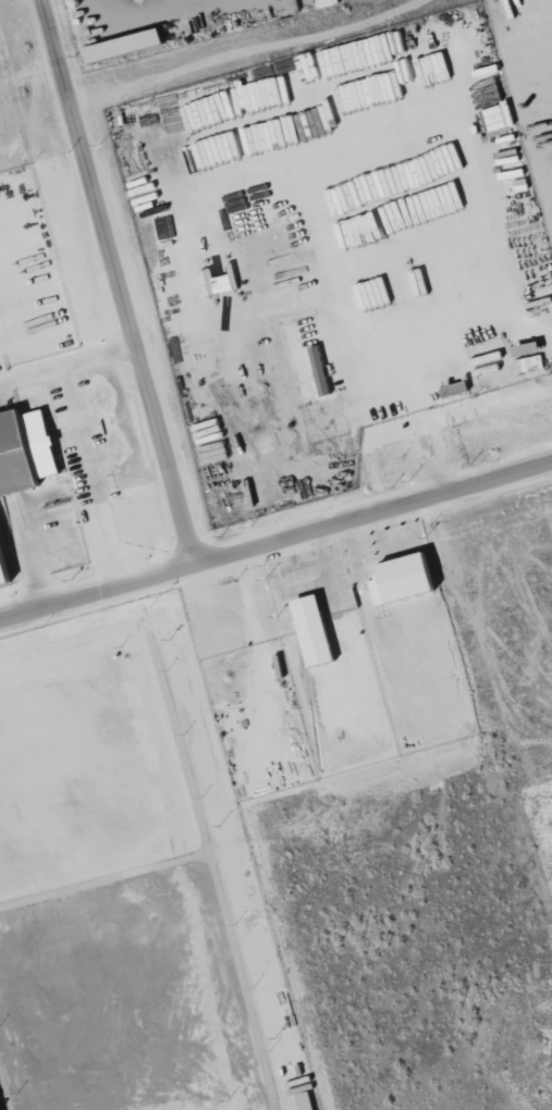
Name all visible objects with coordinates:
building: (328, 3)
building: (125, 45)
building: (499, 115)
road: (119, 282)
building: (528, 356)
building: (320, 370)
building: (26, 452)
road: (275, 541)
building: (4, 566)
power plant: (130, 883)
building: (305, 1100)

